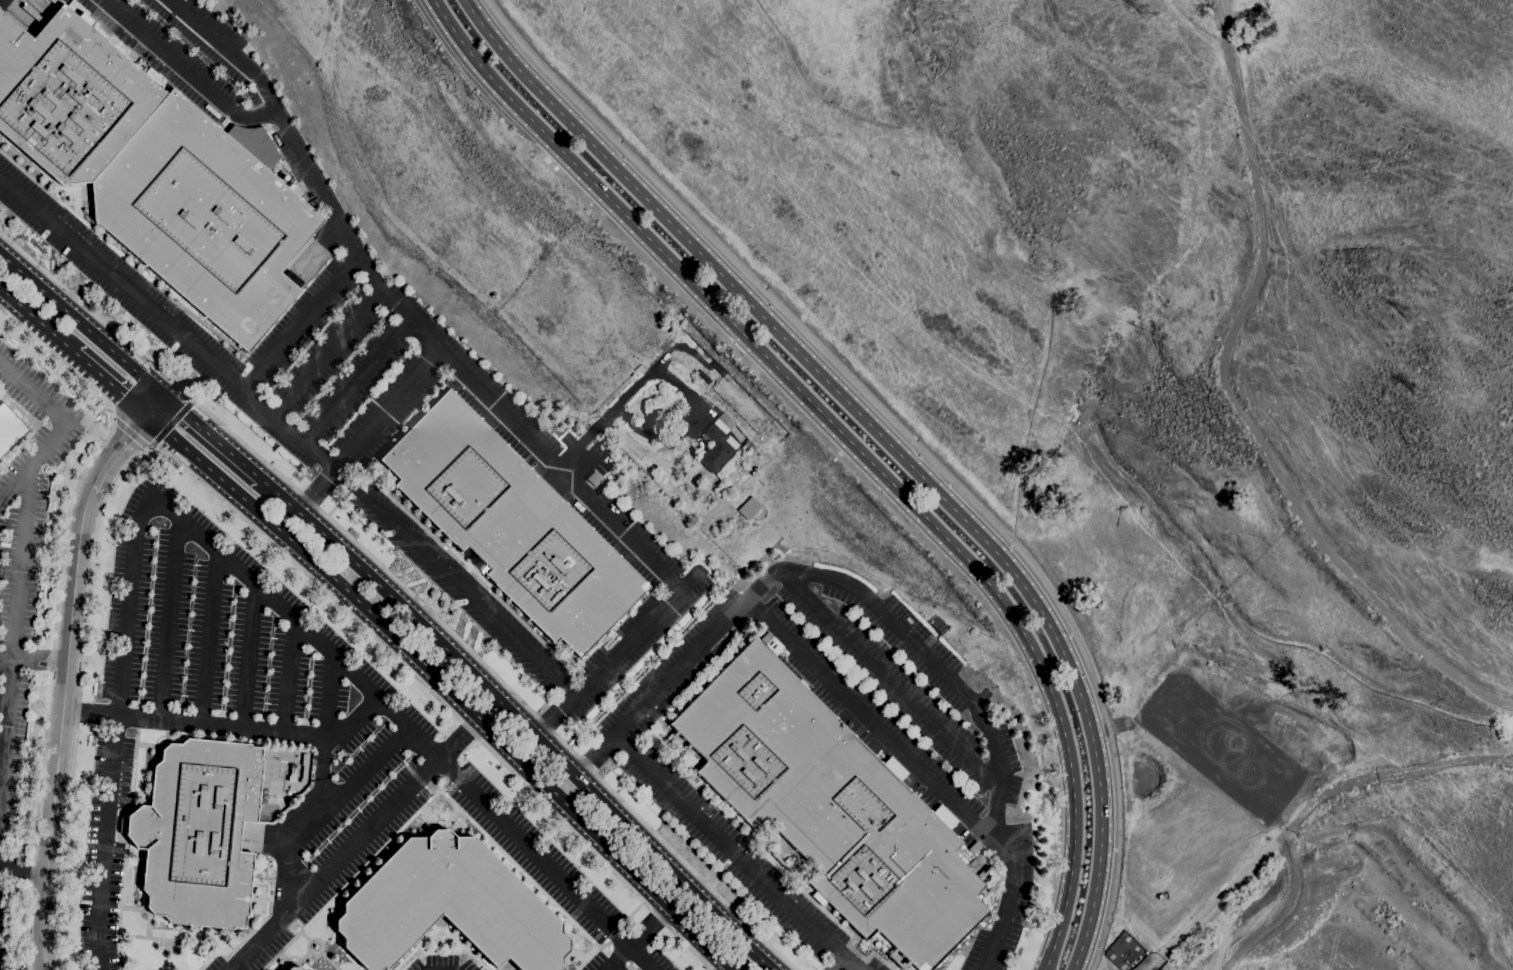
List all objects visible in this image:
building: (52, 1)
power tower: (1146, 15)
road: (188, 71)
building: (156, 172)
road: (401, 313)
power tower: (1411, 317)
road: (37, 321)
road: (301, 323)
road: (82, 326)
building: (683, 340)
road: (327, 355)
road: (357, 383)
road: (111, 385)
power tower: (1416, 392)
road: (623, 397)
road: (1234, 403)
building: (715, 412)
road: (170, 422)
road: (61, 429)
building: (10, 430)
road: (131, 432)
road: (368, 432)
road: (292, 433)
building: (545, 435)
road: (907, 436)
road: (213, 438)
road: (883, 438)
road: (850, 442)
building: (718, 443)
building: (526, 457)
building: (594, 478)
building: (748, 501)
road: (237, 515)
building: (511, 524)
road: (233, 565)
road: (407, 591)
road: (57, 609)
road: (169, 618)
road: (902, 634)
parking lot: (204, 637)
road: (210, 638)
building: (771, 643)
road: (15, 647)
road: (616, 656)
road: (248, 657)
road: (32, 661)
road: (65, 668)
road: (287, 676)
road: (887, 677)
road: (446, 686)
road: (5, 701)
road: (520, 722)
road: (225, 727)
road: (327, 729)
road: (881, 730)
road: (3, 742)
road: (595, 757)
building: (303, 767)
building: (291, 774)
road: (2, 782)
building: (290, 792)
road: (1311, 805)
road: (316, 806)
building: (831, 806)
building: (198, 832)
road: (357, 844)
building: (974, 847)
road: (735, 855)
road: (22, 871)
road: (1216, 901)
building: (447, 907)
road: (636, 938)
road: (445, 965)
road: (839, 965)
building: (294, 968)

